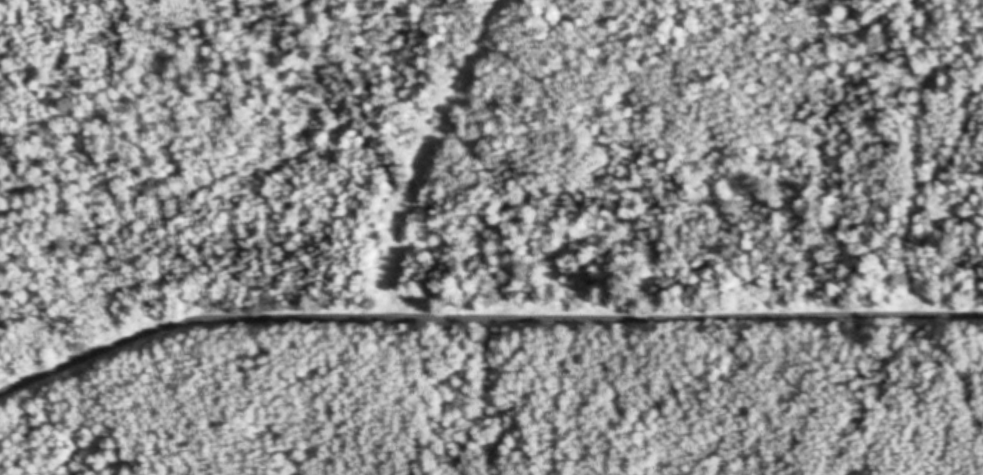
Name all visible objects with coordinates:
road: (482, 331)
road: (204, 406)

